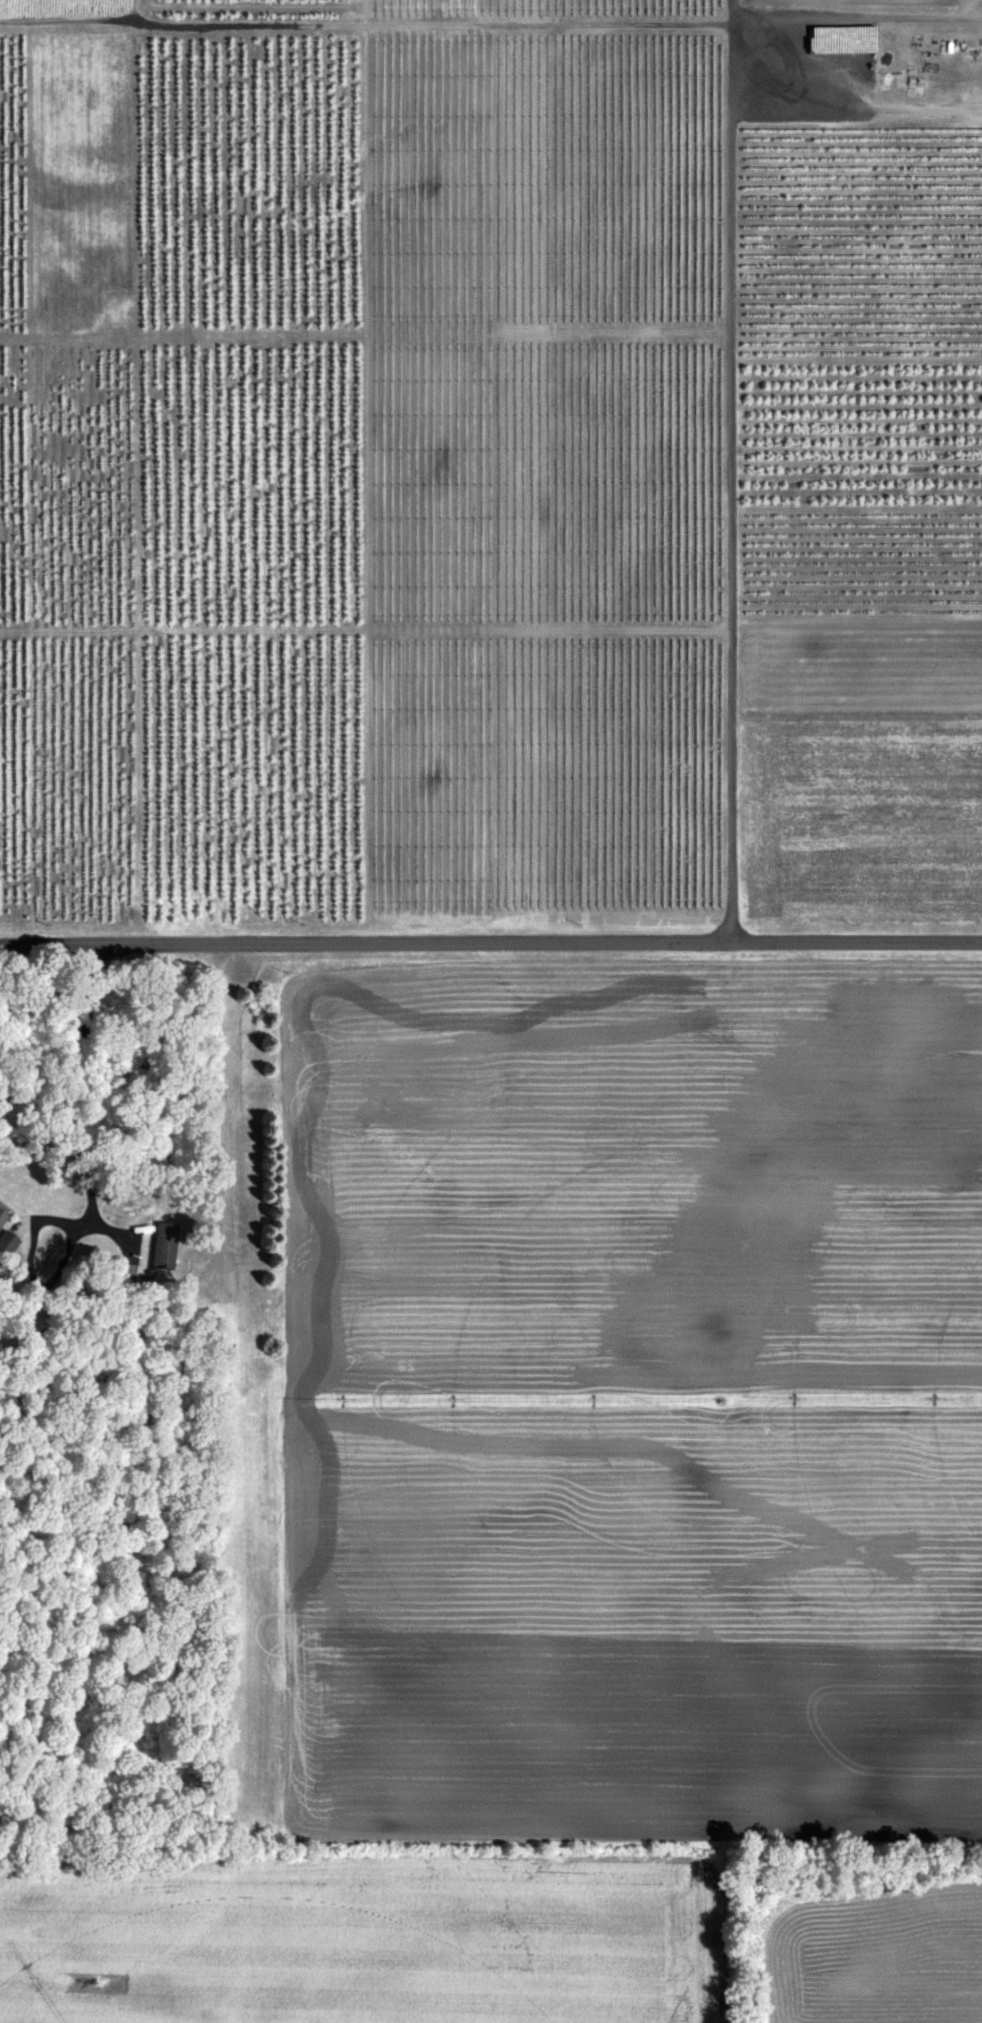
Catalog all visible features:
building: (835, 38)
road: (779, 50)
road: (490, 942)
road: (224, 1114)
road: (88, 1181)
building: (5, 1215)
road: (109, 1230)
building: (168, 1244)

